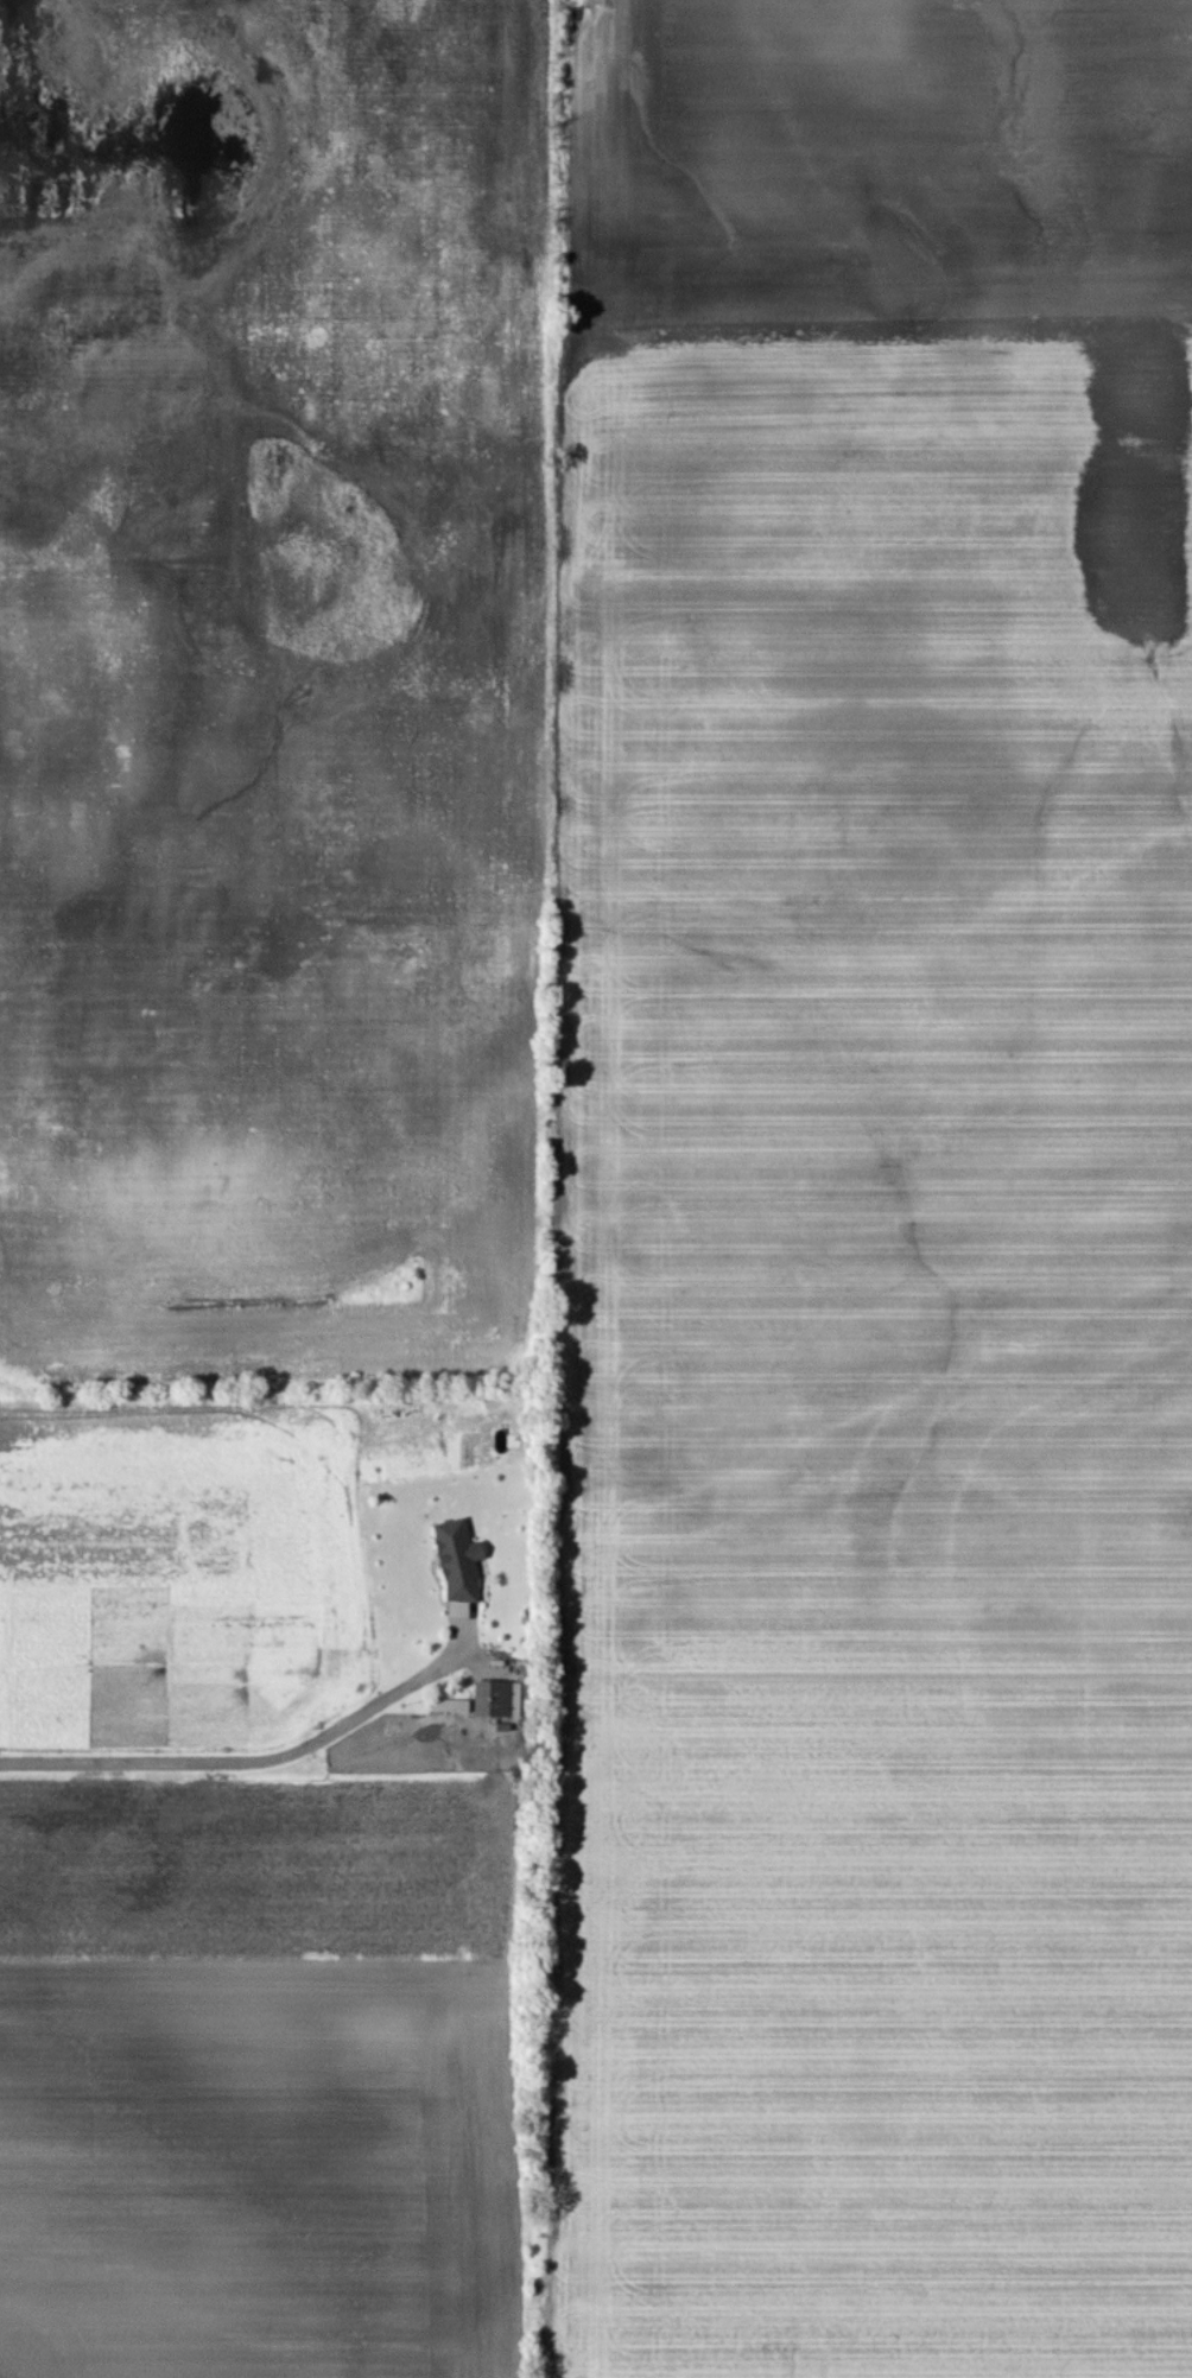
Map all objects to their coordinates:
building: (463, 1561)
building: (500, 1699)
road: (242, 1765)

